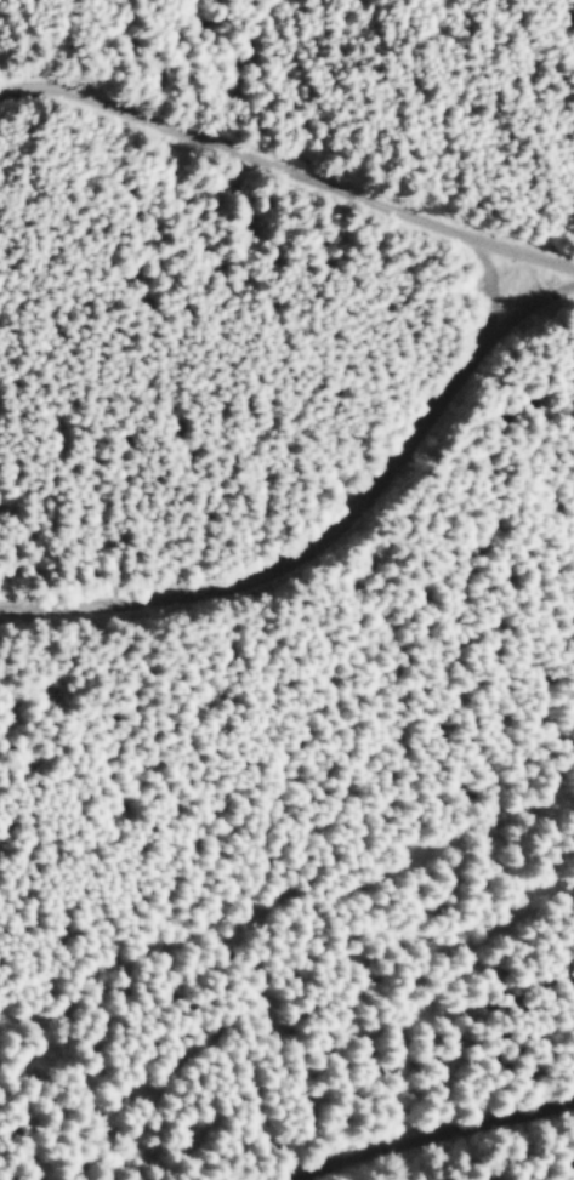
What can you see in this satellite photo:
road: (286, 167)
road: (491, 281)
road: (336, 538)
road: (436, 1138)

